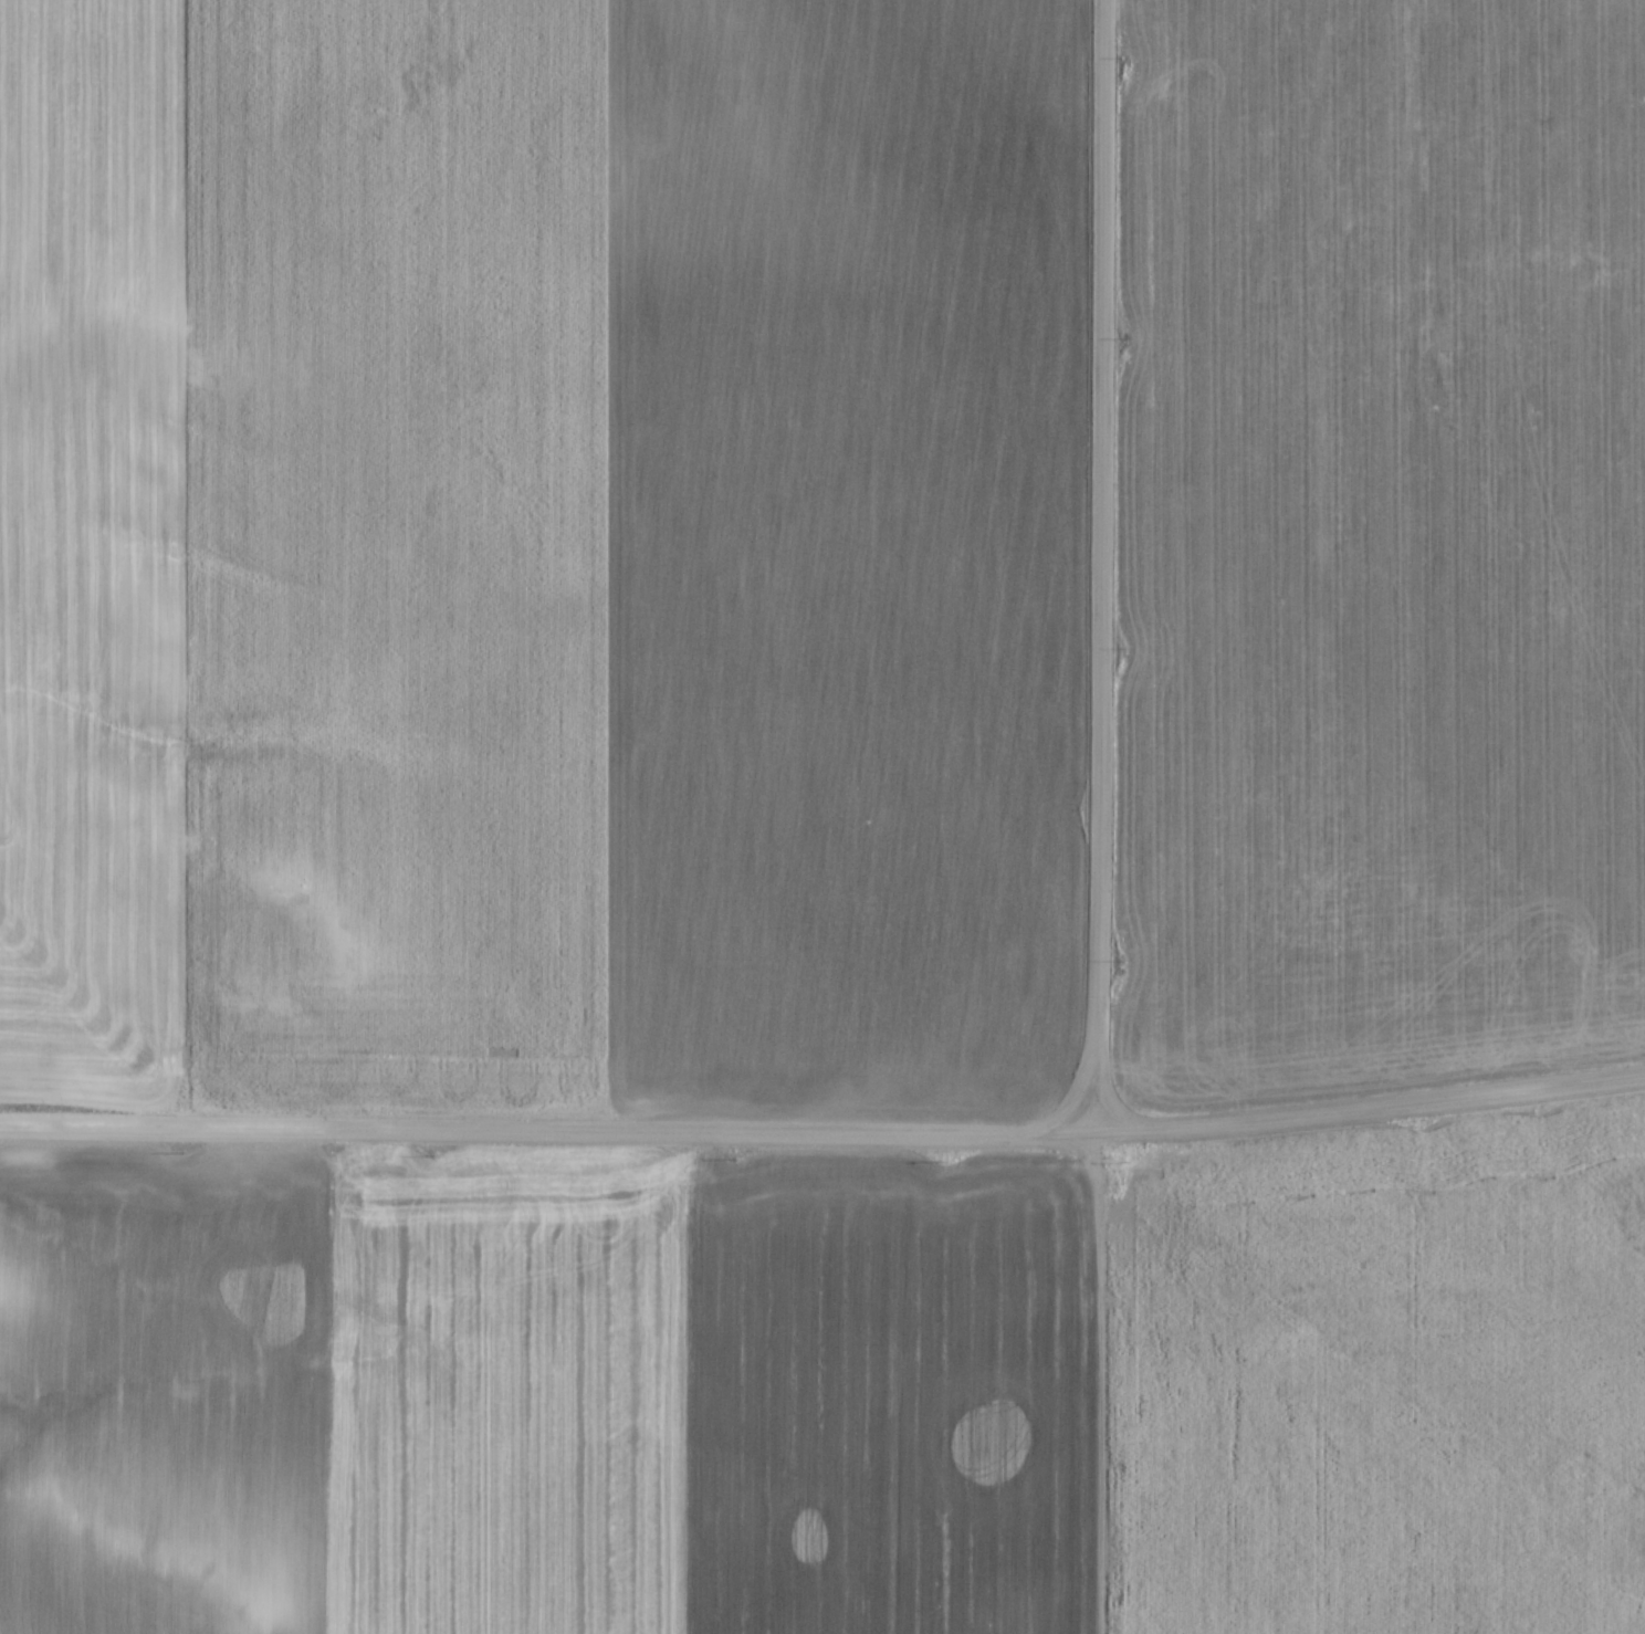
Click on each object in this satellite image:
road: (1098, 817)
road: (824, 1137)

